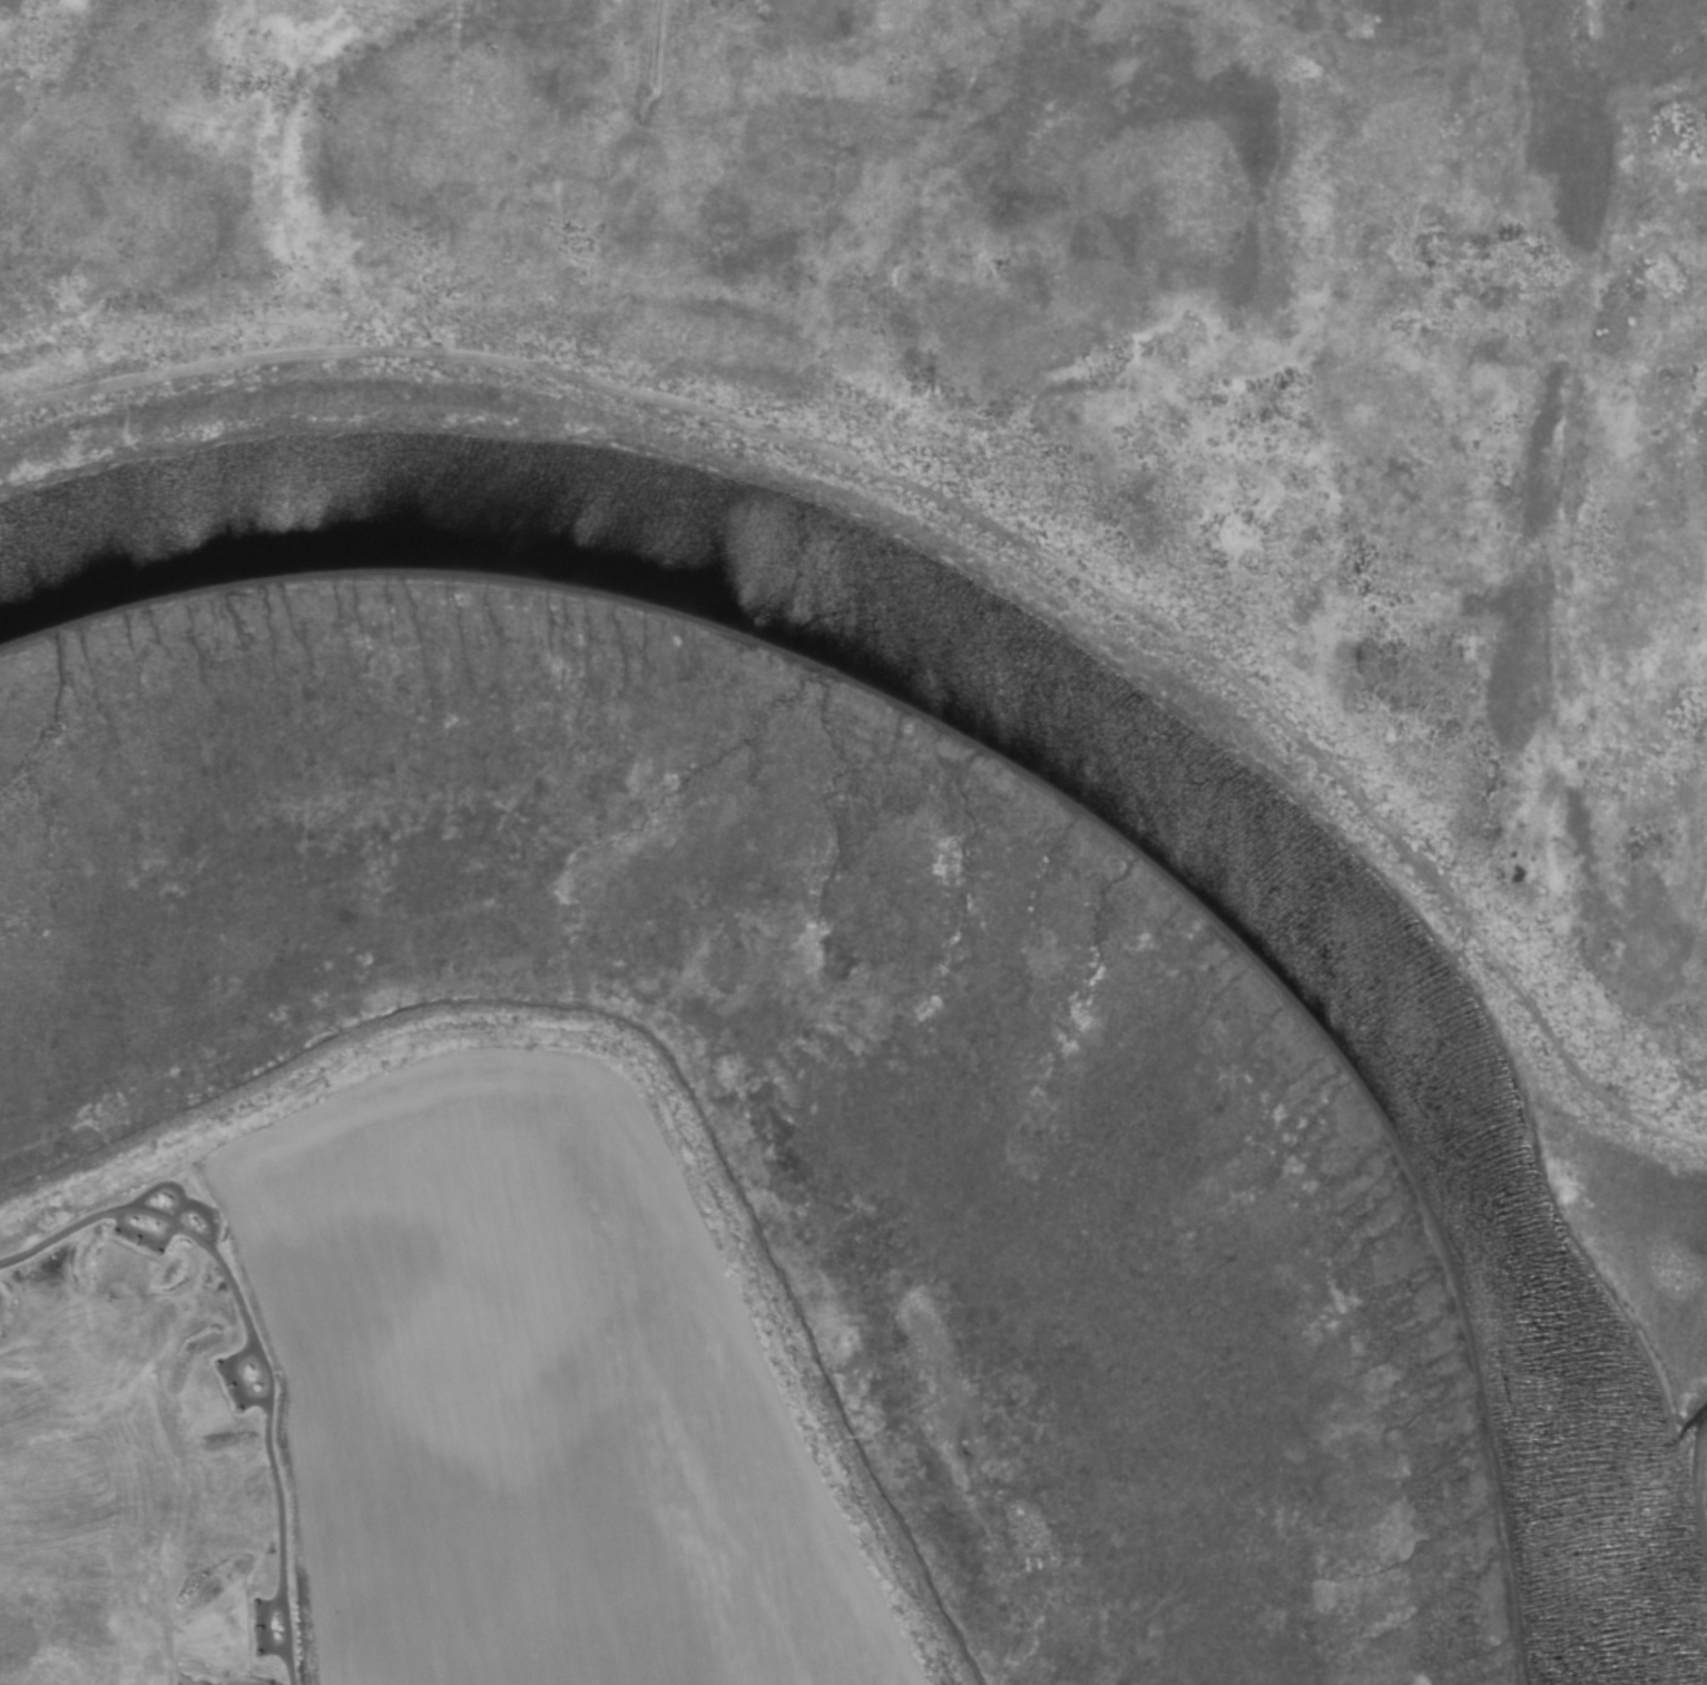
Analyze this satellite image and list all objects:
road: (180, 1194)
road: (177, 1208)
road: (258, 1348)
road: (234, 1378)

